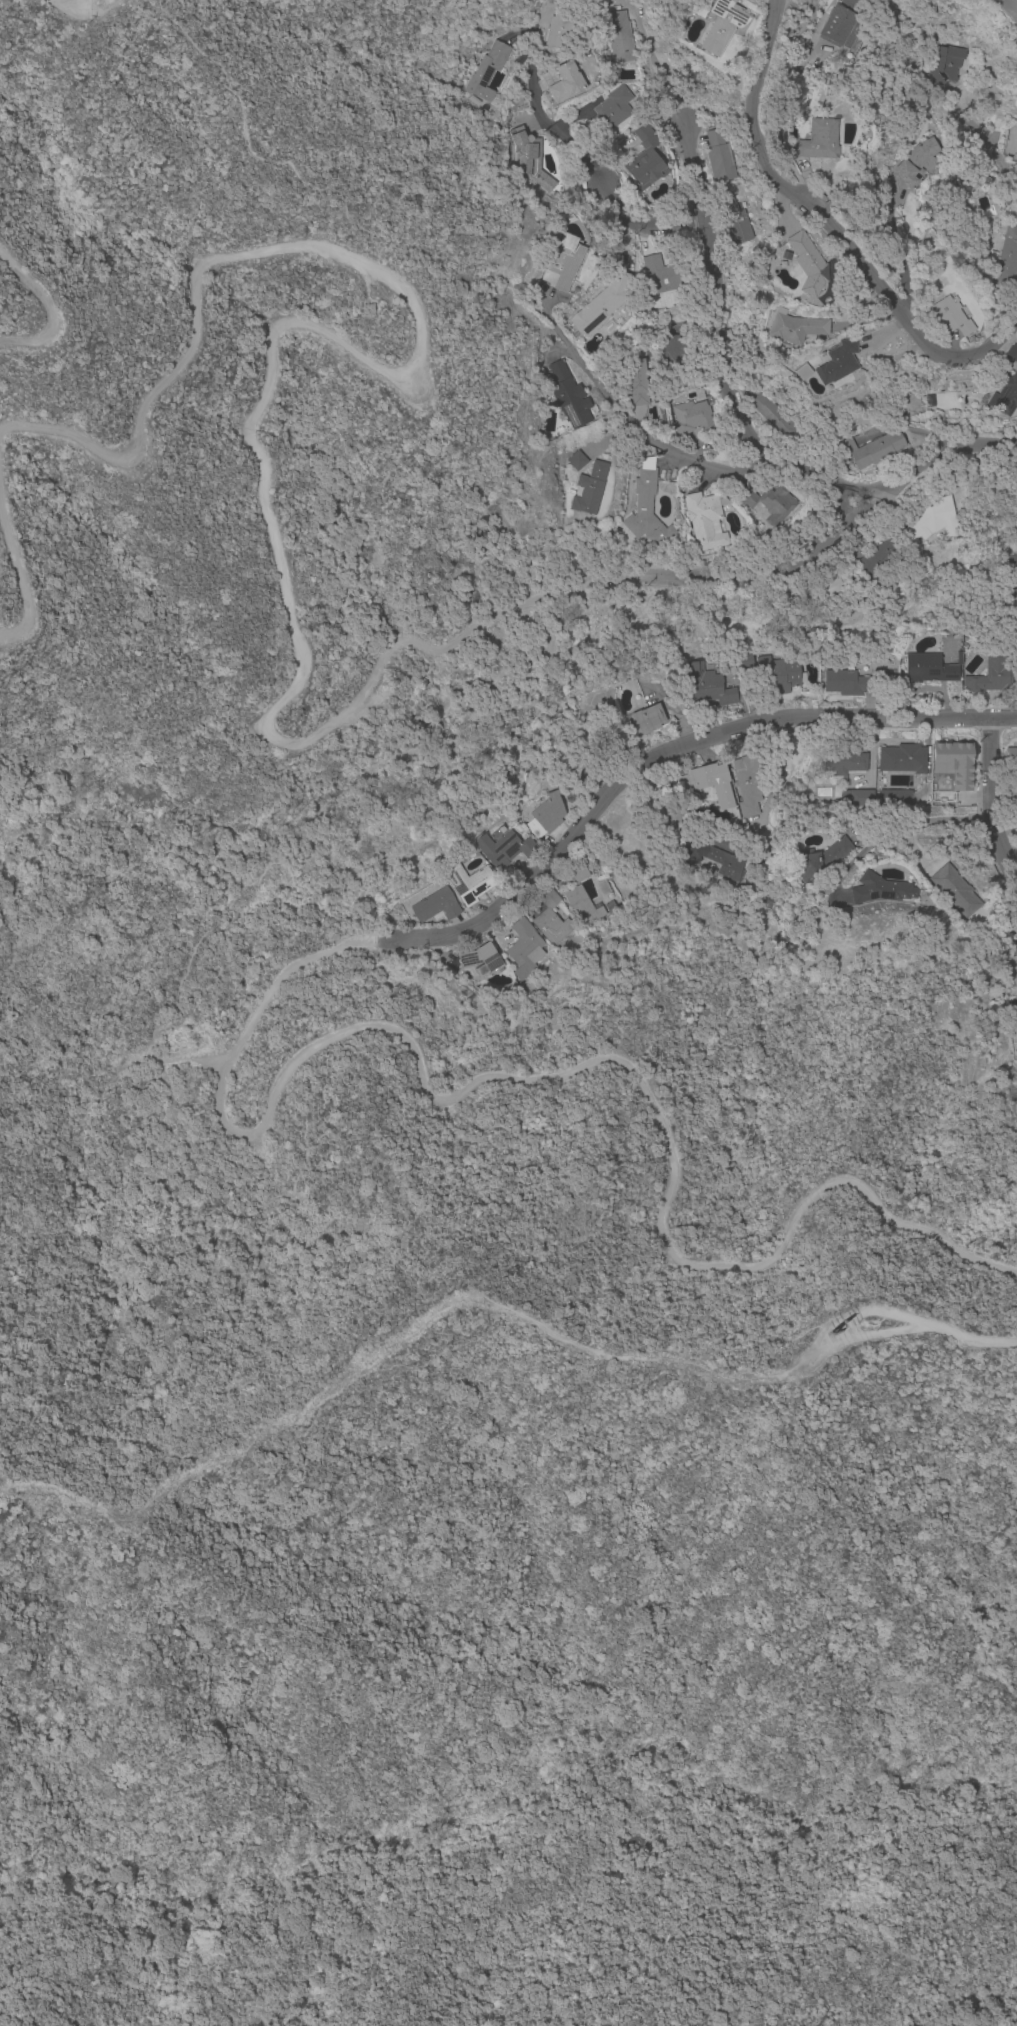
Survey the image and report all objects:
road: (55, 0)
building: (1014, 3)
building: (842, 24)
building: (559, 25)
building: (723, 26)
building: (1015, 28)
building: (675, 30)
building: (621, 37)
road: (534, 39)
building: (943, 64)
building: (487, 72)
building: (567, 83)
road: (677, 105)
road: (538, 108)
building: (611, 112)
road: (985, 138)
building: (819, 141)
road: (573, 144)
building: (720, 157)
building: (916, 159)
building: (645, 161)
building: (532, 162)
road: (600, 174)
building: (960, 182)
building: (983, 190)
building: (1009, 197)
building: (1013, 208)
building: (570, 220)
building: (734, 220)
road: (830, 224)
road: (641, 227)
building: (991, 245)
road: (905, 251)
building: (564, 263)
building: (1007, 263)
building: (807, 264)
building: (662, 275)
building: (602, 305)
road: (50, 311)
building: (952, 316)
building: (608, 327)
building: (796, 328)
road: (272, 330)
building: (676, 362)
building: (838, 363)
building: (802, 372)
building: (1010, 378)
building: (639, 382)
building: (568, 397)
road: (611, 401)
building: (918, 402)
road: (738, 403)
building: (690, 417)
building: (774, 417)
building: (872, 450)
building: (577, 461)
road: (701, 466)
building: (590, 489)
building: (770, 504)
road: (844, 504)
building: (646, 507)
building: (704, 520)
building: (933, 523)
road: (816, 553)
building: (881, 562)
road: (18, 573)
building: (1011, 575)
building: (825, 592)
building: (676, 655)
building: (744, 659)
building: (930, 669)
building: (732, 670)
building: (993, 674)
building: (781, 677)
building: (615, 680)
building: (846, 684)
building: (595, 685)
building: (708, 686)
building: (579, 704)
building: (647, 720)
road: (663, 753)
building: (1012, 758)
road: (790, 762)
building: (843, 763)
building: (954, 764)
building: (918, 779)
building: (750, 783)
building: (705, 785)
building: (1011, 797)
road: (995, 798)
building: (857, 799)
road: (926, 815)
building: (545, 816)
building: (741, 828)
building: (680, 838)
building: (504, 849)
building: (690, 854)
building: (821, 859)
building: (724, 864)
building: (702, 868)
building: (579, 874)
building: (469, 884)
building: (748, 884)
building: (602, 888)
building: (879, 890)
building: (955, 891)
building: (435, 906)
building: (582, 906)
building: (610, 906)
building: (551, 921)
building: (525, 949)
building: (1014, 950)
building: (481, 961)
building: (537, 990)
road: (545, 1078)
road: (906, 1331)
power tower: (831, 1338)

